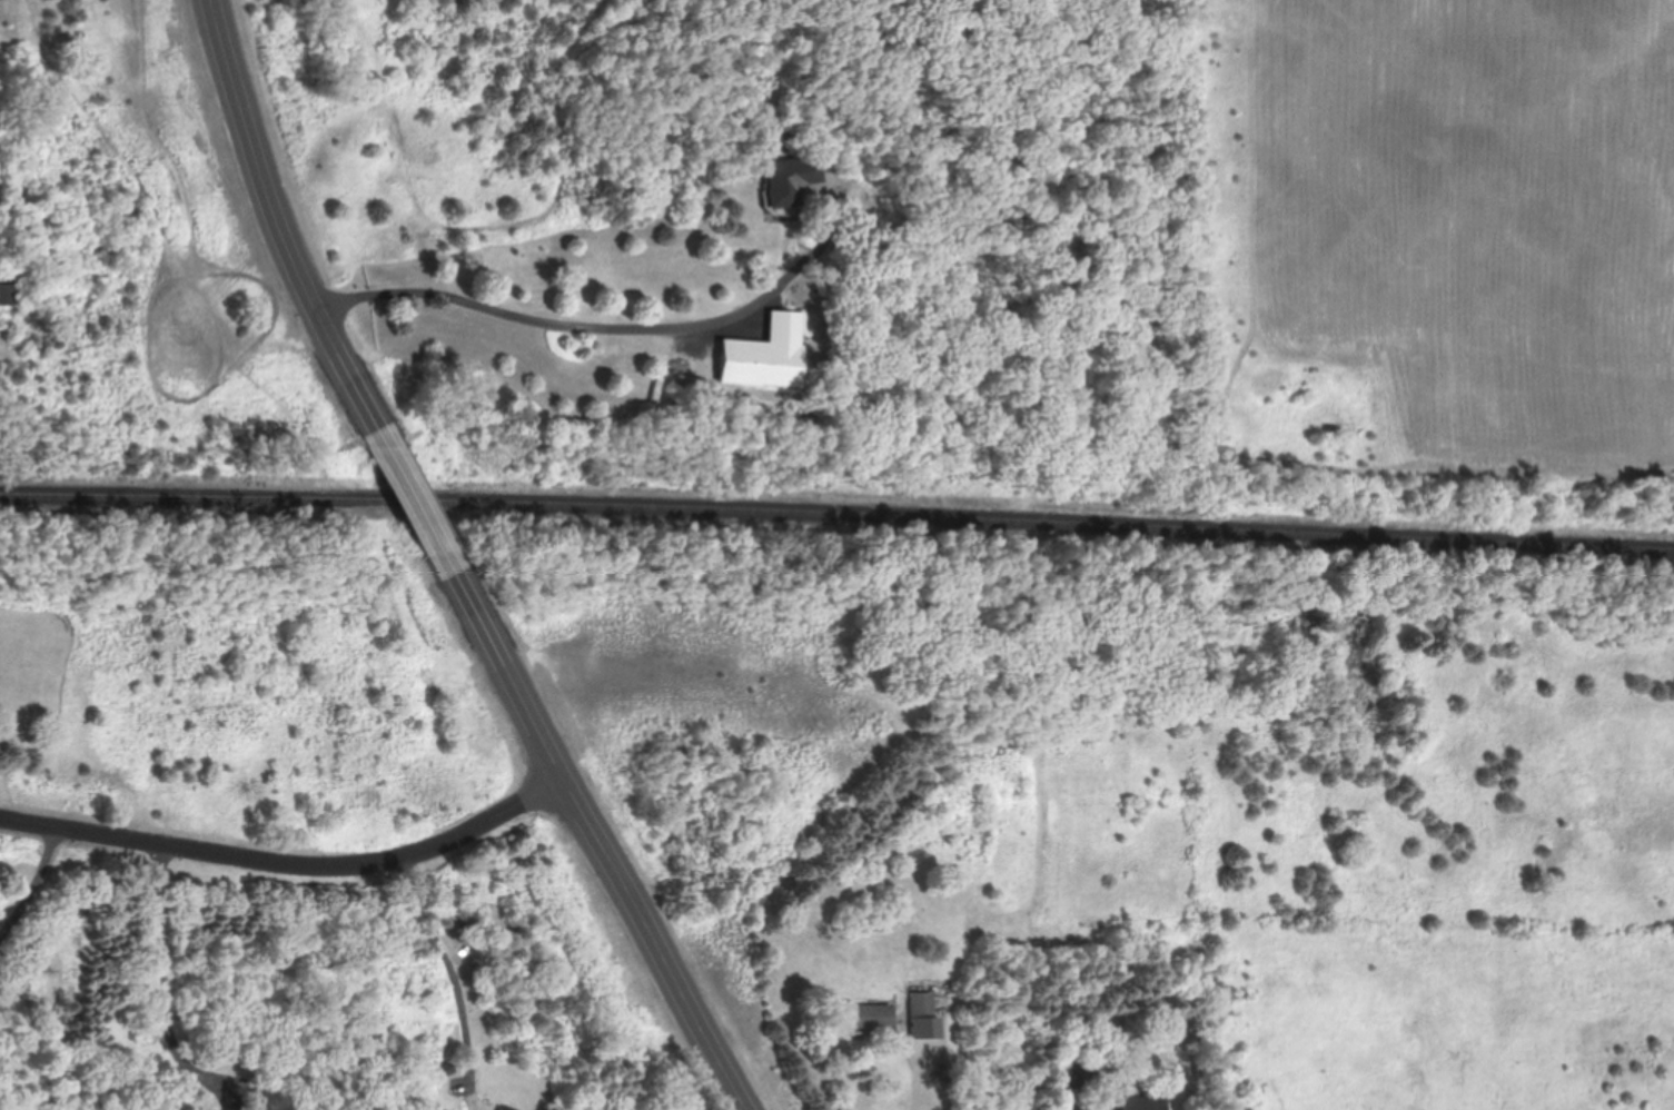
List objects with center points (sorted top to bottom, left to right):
building: (788, 180)
road: (285, 230)
building: (10, 294)
road: (610, 329)
building: (762, 355)
road: (419, 507)
railway: (836, 511)
road: (601, 835)
road: (293, 869)
road: (31, 900)
road: (161, 967)
road: (457, 979)
building: (923, 1004)
building: (868, 1015)
road: (921, 1074)
building: (1140, 1103)
building: (501, 1108)

